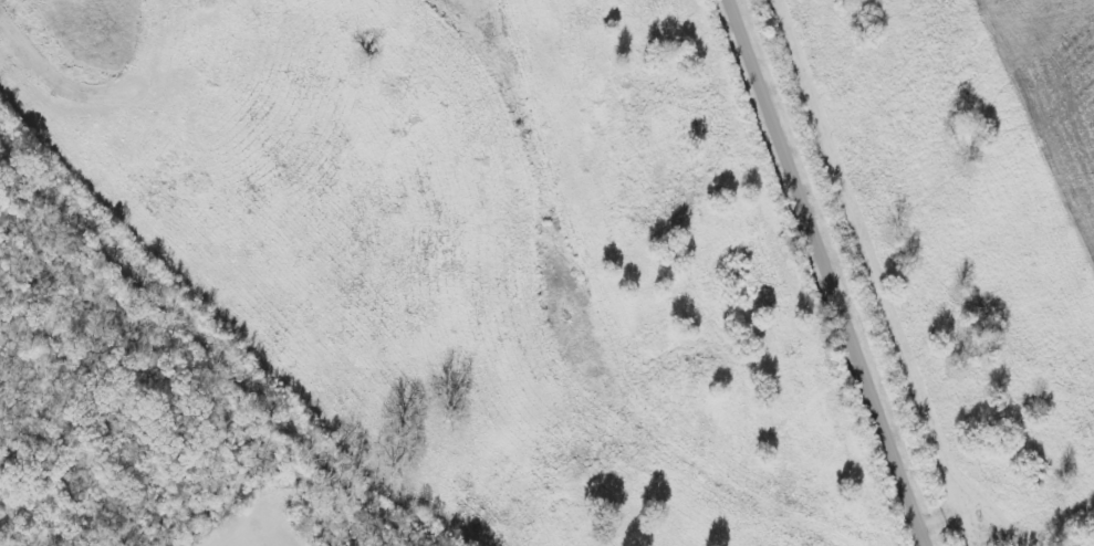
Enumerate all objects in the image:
road: (830, 273)

